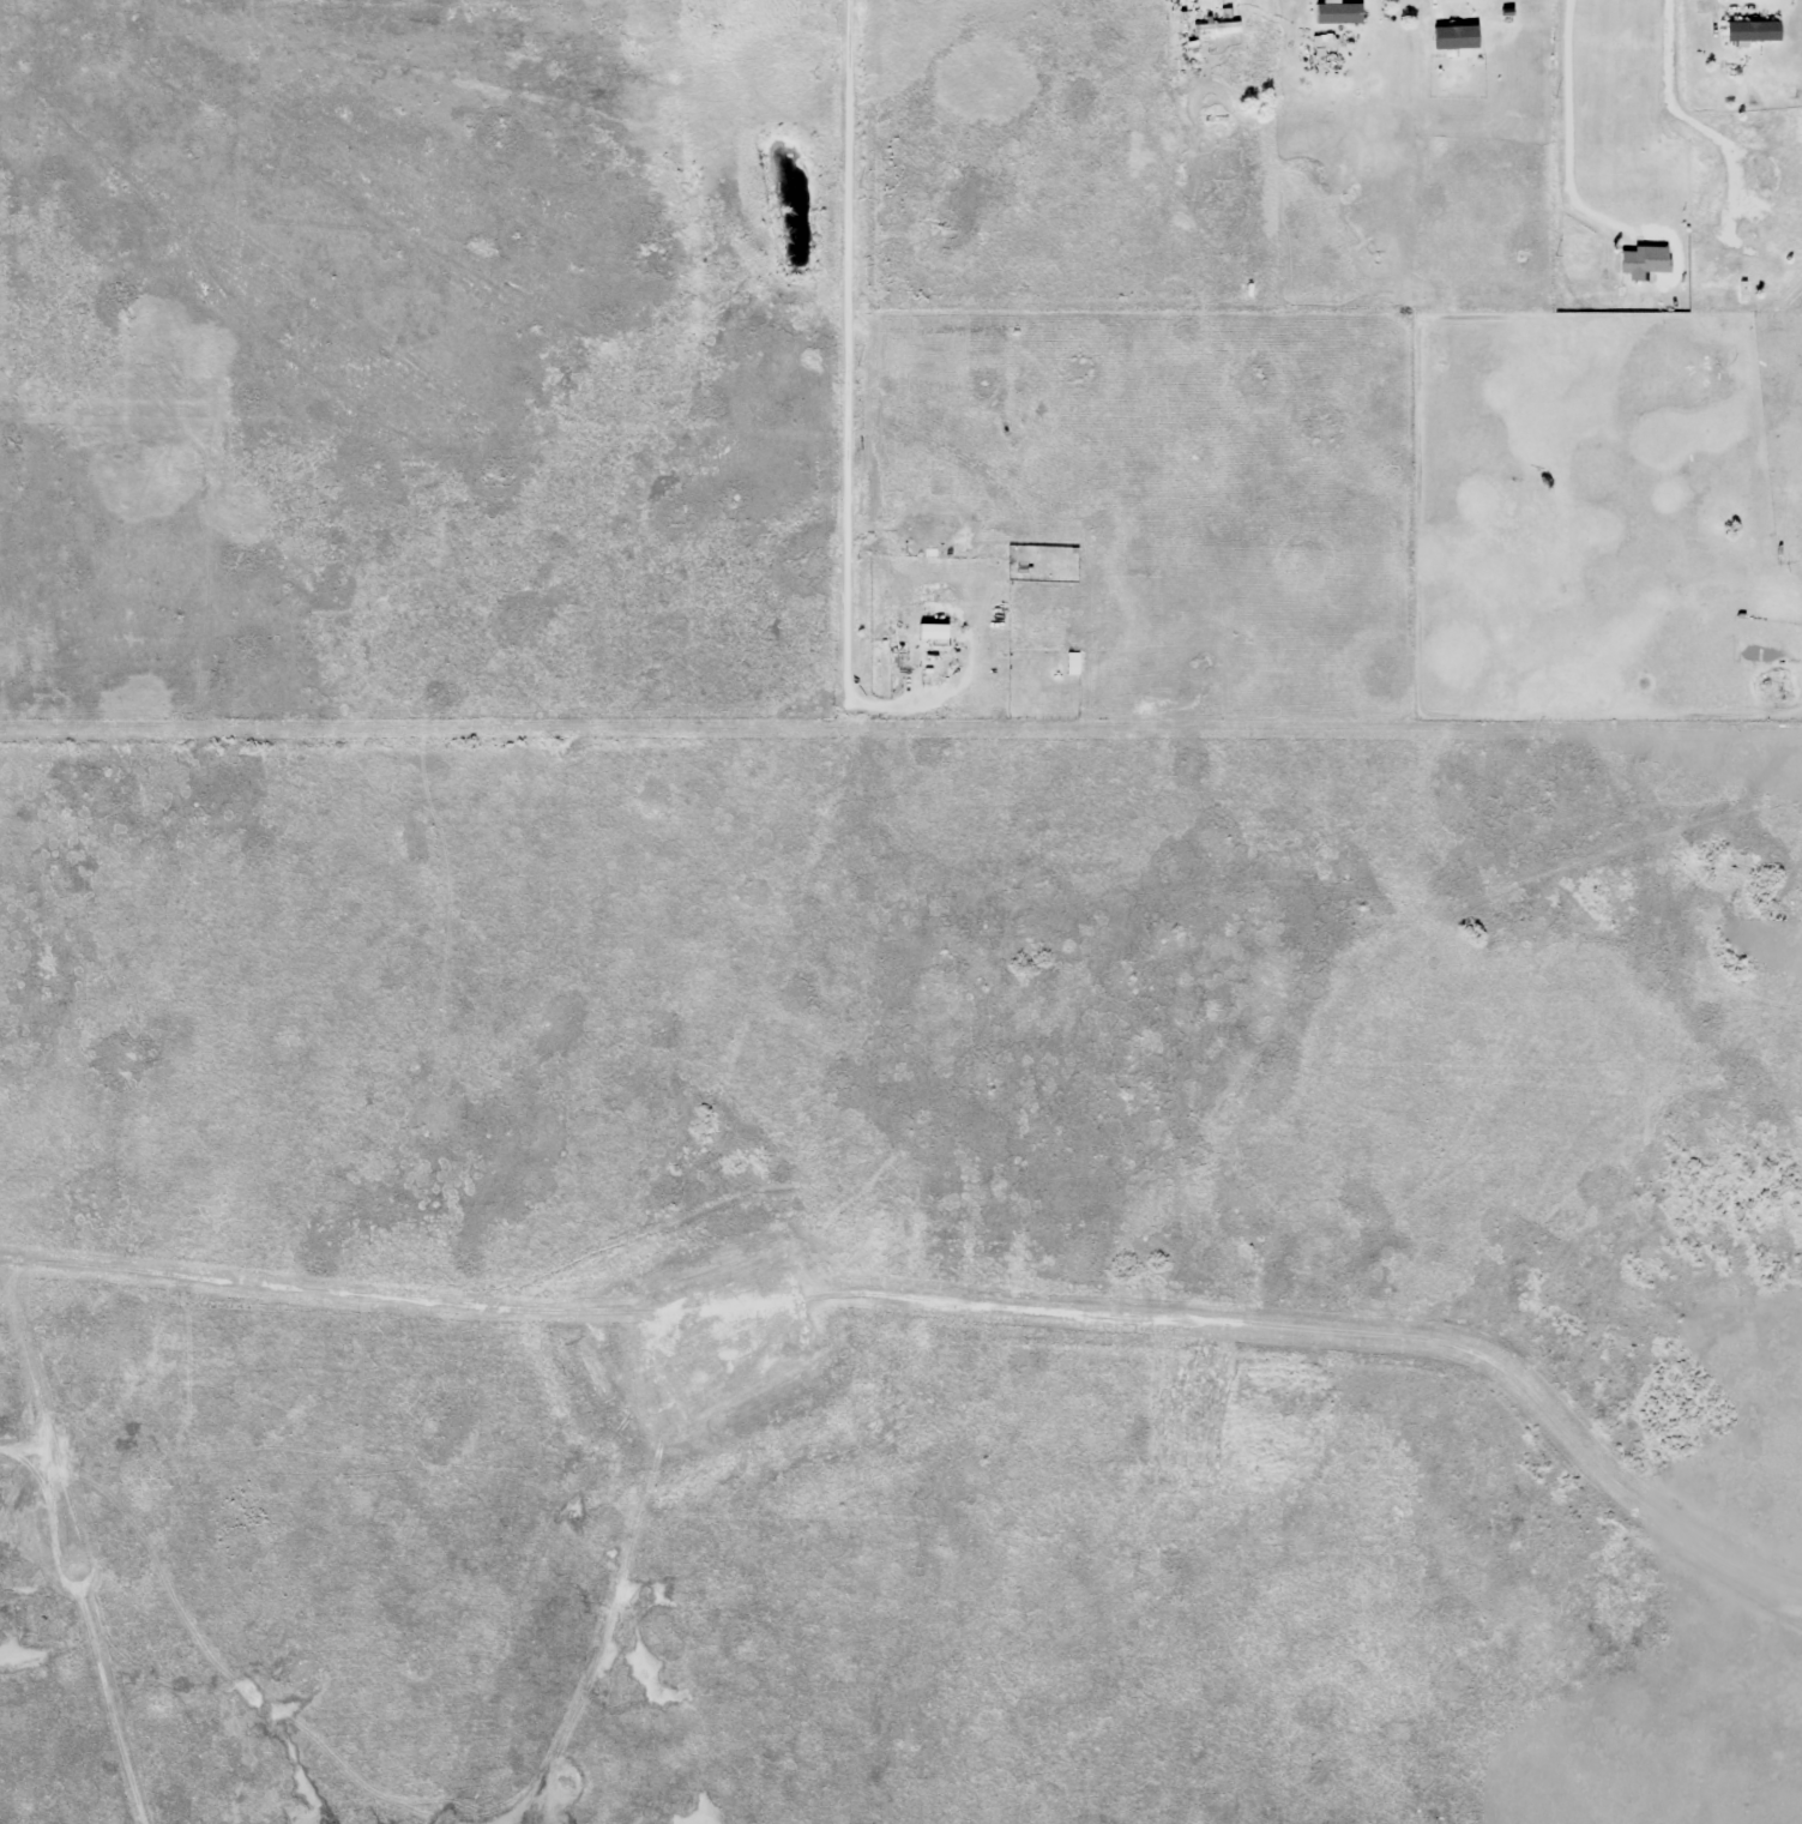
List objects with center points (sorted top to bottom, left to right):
building: (1336, 14)
building: (1747, 32)
building: (1452, 37)
building: (1790, 215)
building: (1789, 289)

